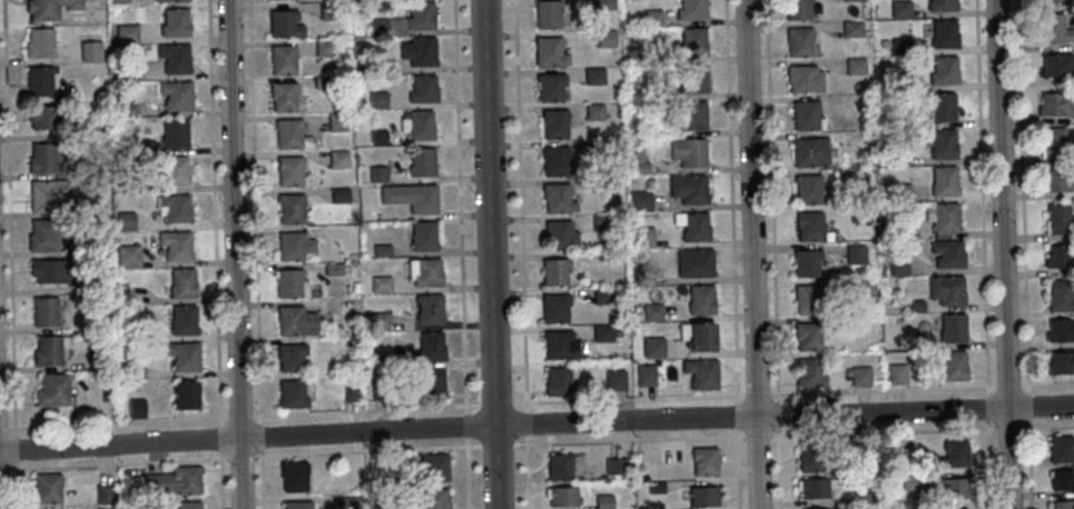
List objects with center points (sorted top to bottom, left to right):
building: (167, 0)
building: (853, 0)
building: (1056, 0)
building: (117, 1)
building: (604, 4)
building: (940, 6)
building: (48, 8)
building: (899, 9)
building: (690, 10)
building: (797, 10)
building: (327, 11)
building: (545, 16)
building: (651, 18)
building: (404, 20)
building: (174, 23)
building: (283, 24)
building: (850, 29)
building: (1055, 29)
building: (126, 33)
building: (943, 34)
building: (604, 38)
building: (691, 42)
building: (38, 43)
building: (798, 43)
building: (899, 46)
building: (323, 48)
building: (89, 51)
building: (417, 51)
building: (548, 52)
building: (634, 54)
building: (174, 58)
building: (282, 60)
building: (1057, 63)
building: (855, 66)
building: (377, 67)
building: (944, 71)
building: (128, 72)
building: (592, 76)
building: (804, 79)
building: (38, 80)
building: (692, 80)
building: (901, 80)
building: (321, 82)
building: (549, 86)
building: (421, 89)
building: (175, 94)
building: (282, 97)
building: (375, 99)
building: (1056, 103)
building: (943, 104)
building: (128, 109)
building: (593, 111)
building: (691, 116)
building: (806, 116)
building: (43, 117)
building: (897, 121)
building: (336, 122)
building: (416, 124)
building: (553, 124)
building: (639, 127)
building: (174, 133)
building: (289, 134)
building: (376, 138)
building: (1054, 141)
building: (943, 143)
building: (599, 149)
building: (687, 151)
building: (810, 152)
building: (638, 154)
building: (40, 158)
building: (894, 158)
building: (337, 159)
building: (553, 161)
building: (870, 162)
building: (420, 163)
building: (639, 168)
building: (288, 171)
building: (174, 172)
building: (375, 173)
building: (943, 180)
building: (1058, 180)
building: (127, 181)
building: (597, 183)
building: (688, 188)
building: (808, 189)
building: (899, 191)
building: (46, 194)
building: (338, 196)
building: (408, 198)
building: (558, 198)
building: (640, 200)
building: (88, 204)
building: (173, 209)
building: (289, 210)
building: (859, 213)
building: (943, 217)
building: (1058, 218)
building: (124, 220)
building: (601, 222)
building: (692, 226)
building: (809, 226)
building: (40, 236)
building: (422, 236)
building: (560, 236)
building: (642, 237)
building: (88, 244)
building: (174, 246)
building: (292, 247)
building: (382, 250)
building: (947, 252)
road: (984, 253)
road: (10, 255)
road: (215, 255)
road: (235, 255)
road: (256, 255)
road: (461, 255)
road: (491, 255)
road: (522, 255)
road: (732, 255)
road: (752, 255)
road: (774, 255)
building: (855, 255)
road: (1003, 255)
road: (1024, 255)
building: (1060, 256)
building: (126, 257)
building: (600, 258)
building: (696, 262)
building: (806, 262)
building: (898, 266)
building: (332, 269)
building: (555, 270)
building: (47, 271)
building: (115, 271)
building: (424, 271)
building: (181, 283)
building: (381, 283)
building: (288, 285)
building: (93, 287)
building: (866, 287)
building: (946, 289)
building: (602, 296)
building: (1061, 296)
building: (700, 299)
building: (809, 300)
building: (914, 306)
building: (346, 307)
building: (554, 307)
building: (430, 308)
building: (652, 311)
building: (42, 312)
building: (380, 319)
building: (181, 320)
building: (102, 322)
building: (294, 322)
building: (851, 322)
building: (952, 327)
building: (1060, 330)
building: (602, 332)
building: (617, 333)
building: (132, 335)
building: (810, 335)
building: (702, 336)
building: (354, 342)
building: (561, 343)
building: (431, 346)
building: (653, 347)
building: (47, 350)
building: (289, 356)
building: (181, 357)
building: (385, 359)
building: (96, 360)
building: (1061, 361)
building: (953, 366)
building: (131, 371)
building: (701, 372)
building: (809, 372)
building: (646, 373)
building: (896, 373)
building: (860, 376)
building: (615, 379)
building: (560, 380)
building: (428, 382)
building: (50, 391)
building: (378, 391)
building: (351, 392)
building: (292, 393)
building: (184, 396)
road: (536, 403)
building: (136, 408)
road: (536, 425)
building: (897, 442)
road: (536, 445)
building: (866, 447)
building: (1061, 448)
building: (950, 455)
building: (811, 458)
building: (707, 460)
building: (561, 466)
building: (617, 466)
building: (434, 467)
building: (296, 475)
building: (1062, 479)
building: (175, 480)
building: (910, 481)
building: (657, 487)
building: (47, 488)
building: (814, 488)
building: (950, 488)
building: (105, 493)
building: (704, 495)
building: (564, 496)
building: (867, 497)
building: (436, 499)
building: (604, 501)
building: (349, 502)
building: (299, 503)
building: (188, 505)
building: (1063, 505)
building: (919, 506)
building: (106, 508)
building: (818, 508)
building: (954, 508)

